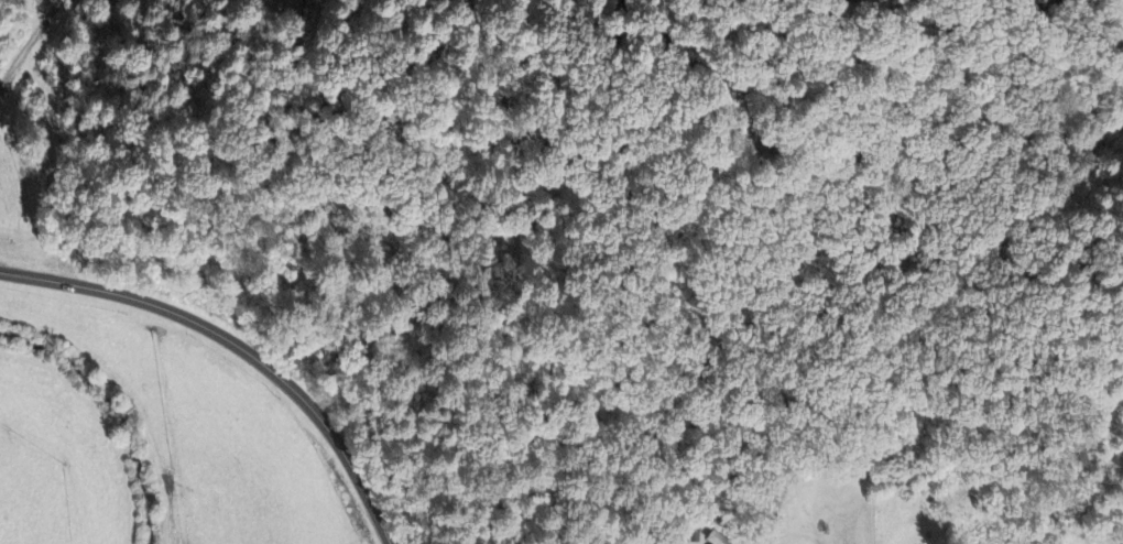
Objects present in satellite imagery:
building: (849, 0)
road: (1040, 4)
road: (29, 42)
road: (239, 346)
building: (717, 537)

